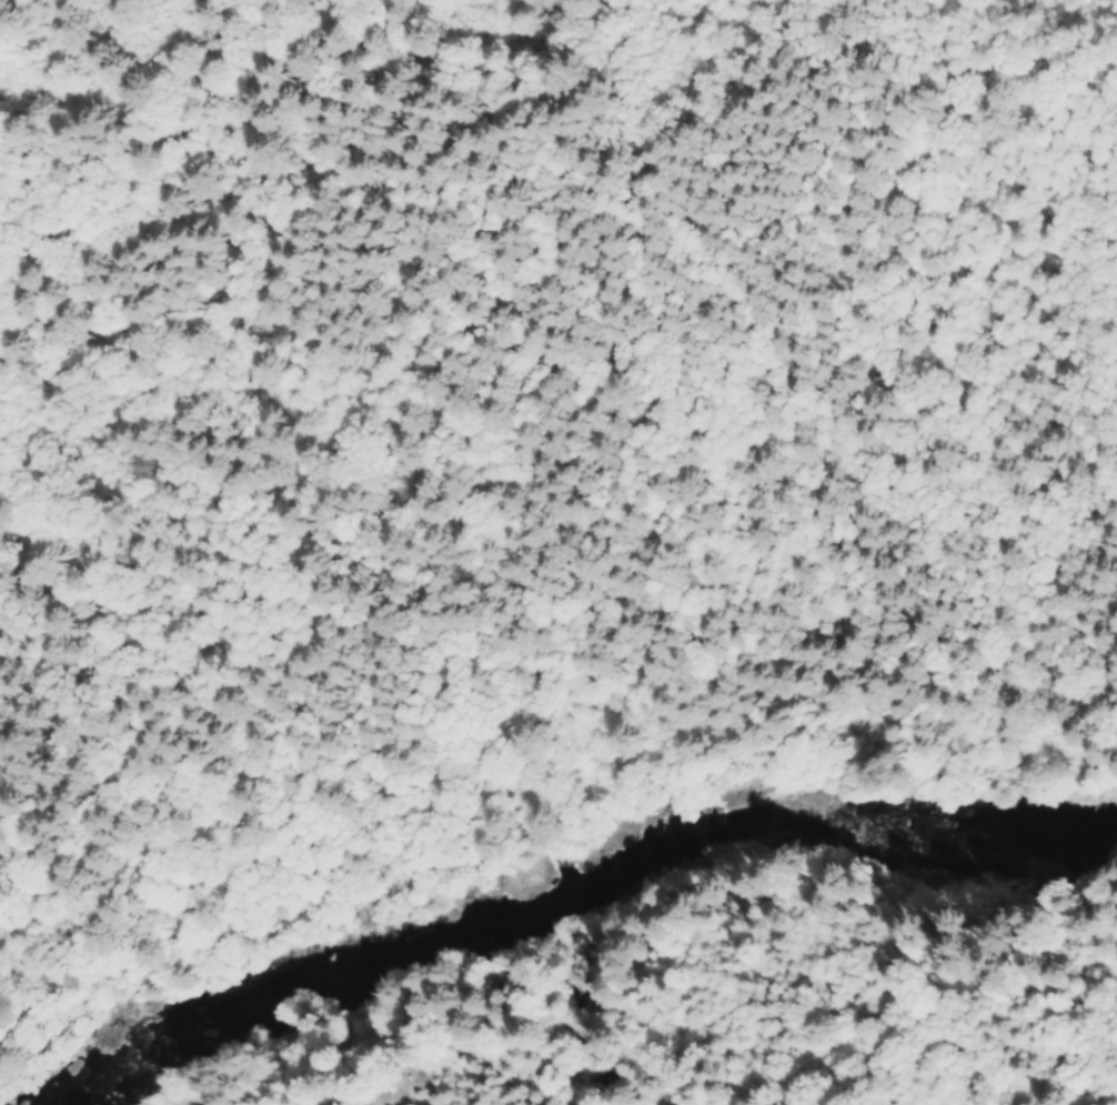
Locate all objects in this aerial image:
river: (634, 915)

